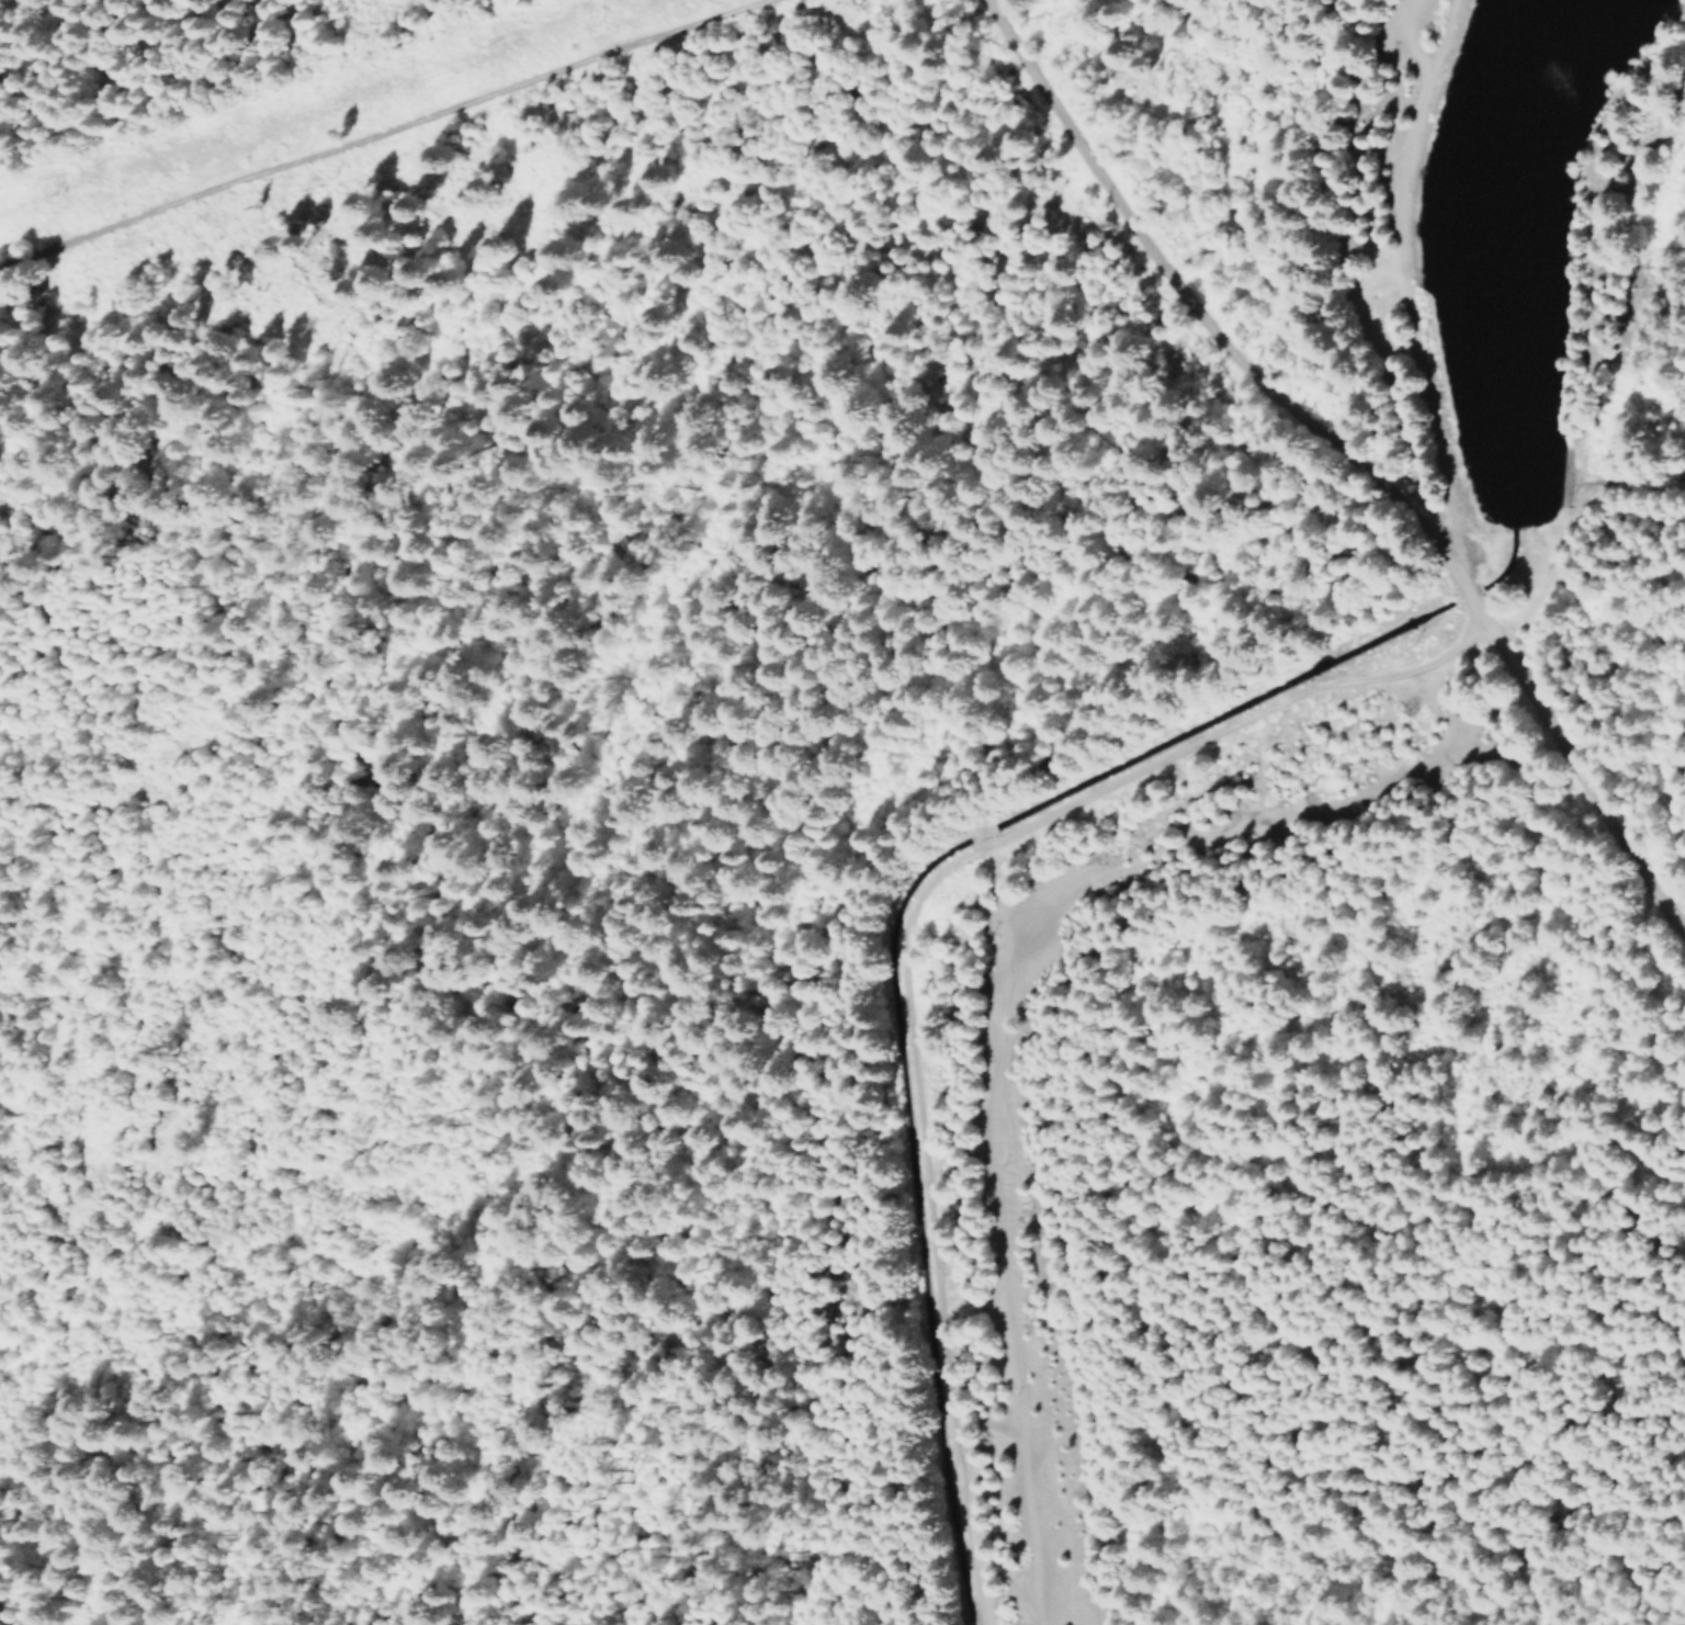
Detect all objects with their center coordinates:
road: (387, 128)
road: (1400, 294)
road: (1344, 454)
road: (907, 941)
road: (0, 1624)

